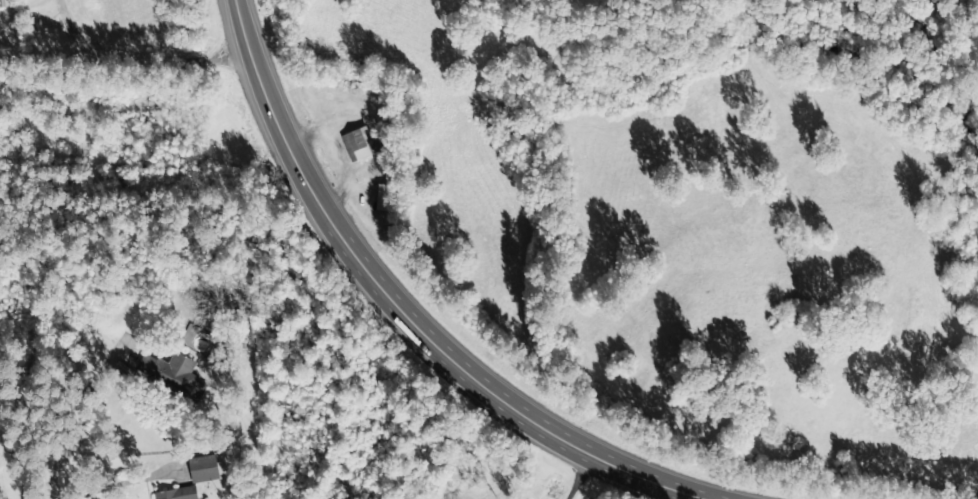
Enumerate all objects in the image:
road: (253, 45)
building: (356, 144)
road: (7, 258)
road: (462, 358)
building: (167, 375)
road: (15, 405)
building: (282, 406)
road: (202, 454)
building: (199, 469)
building: (172, 494)

